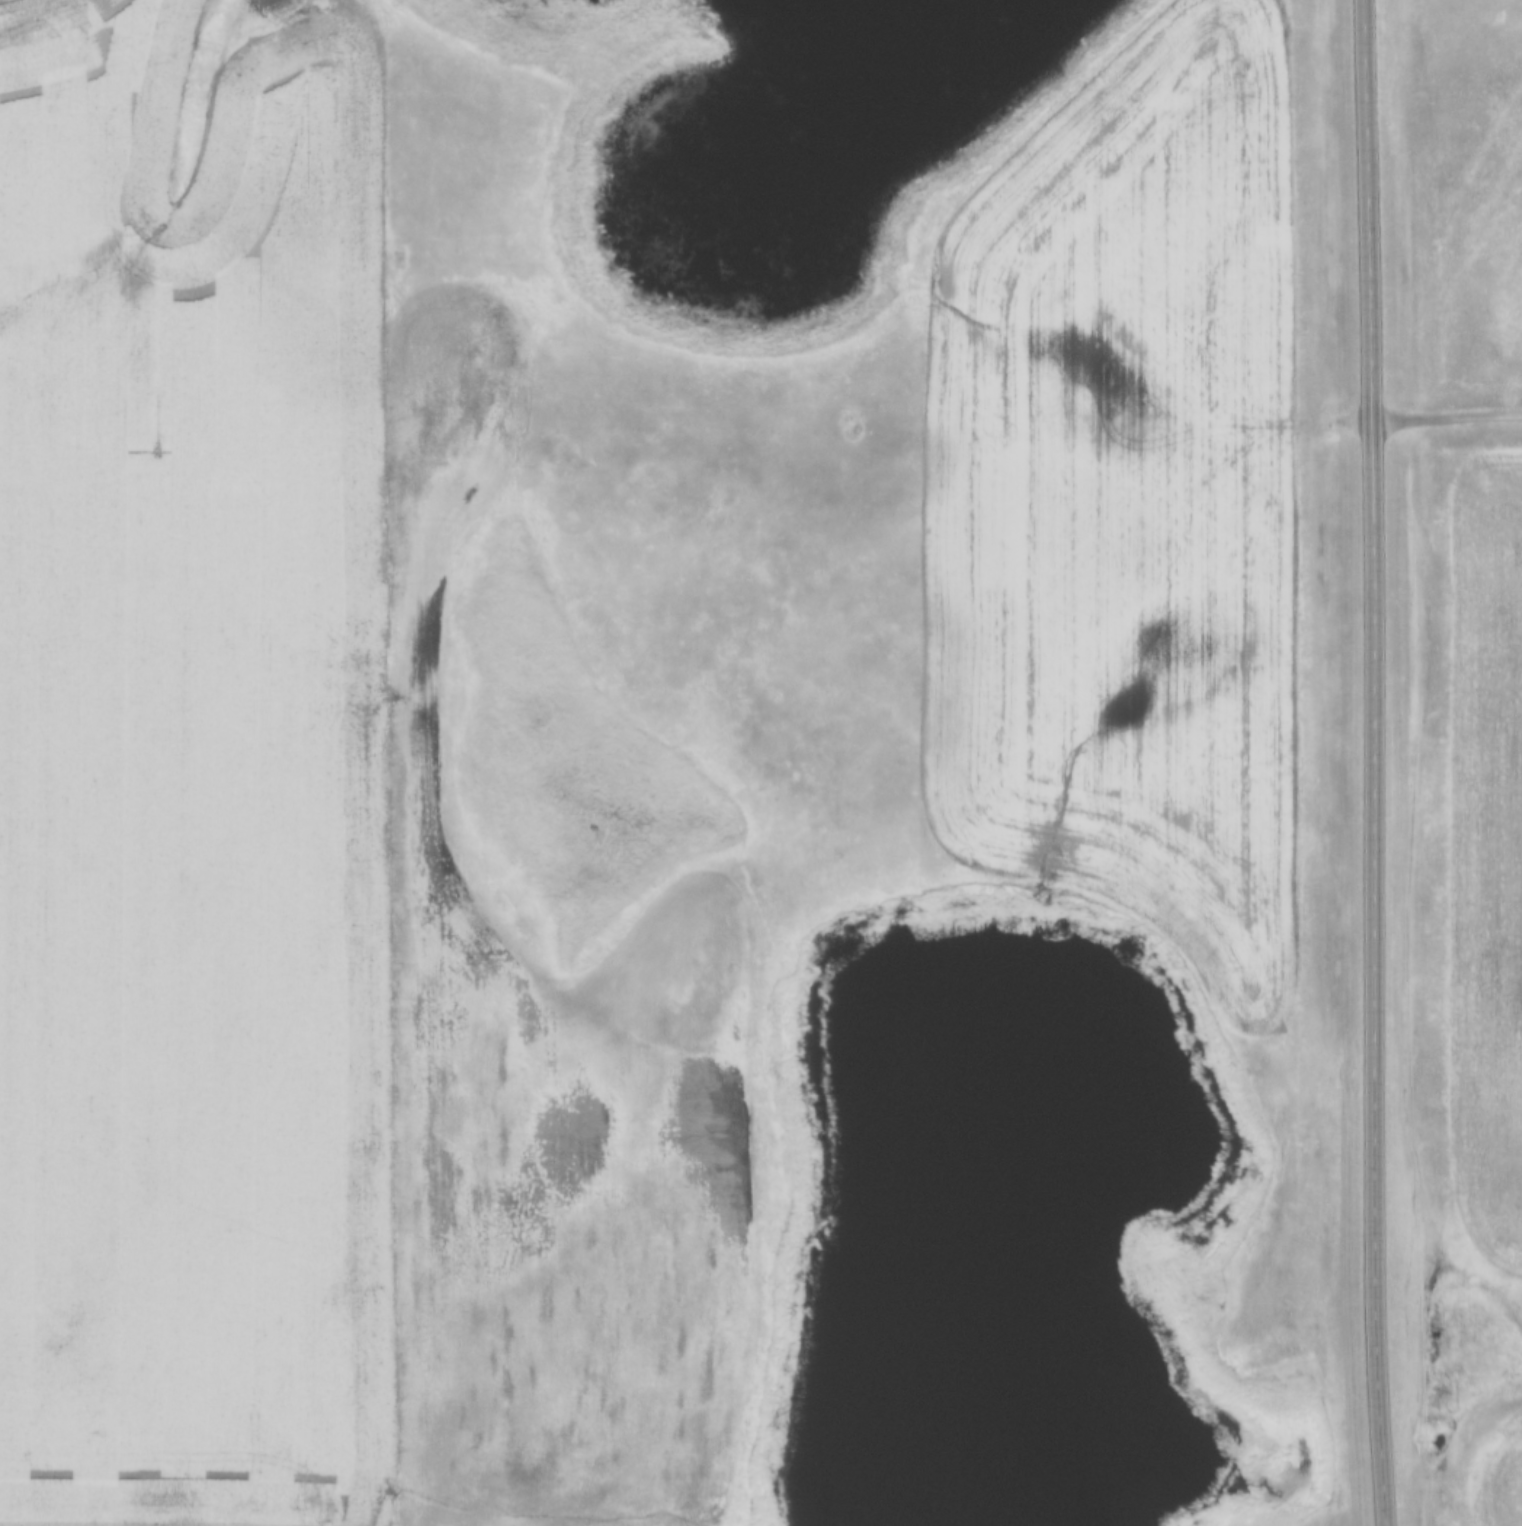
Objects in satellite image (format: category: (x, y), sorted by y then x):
road: (1449, 419)
road: (1378, 763)

